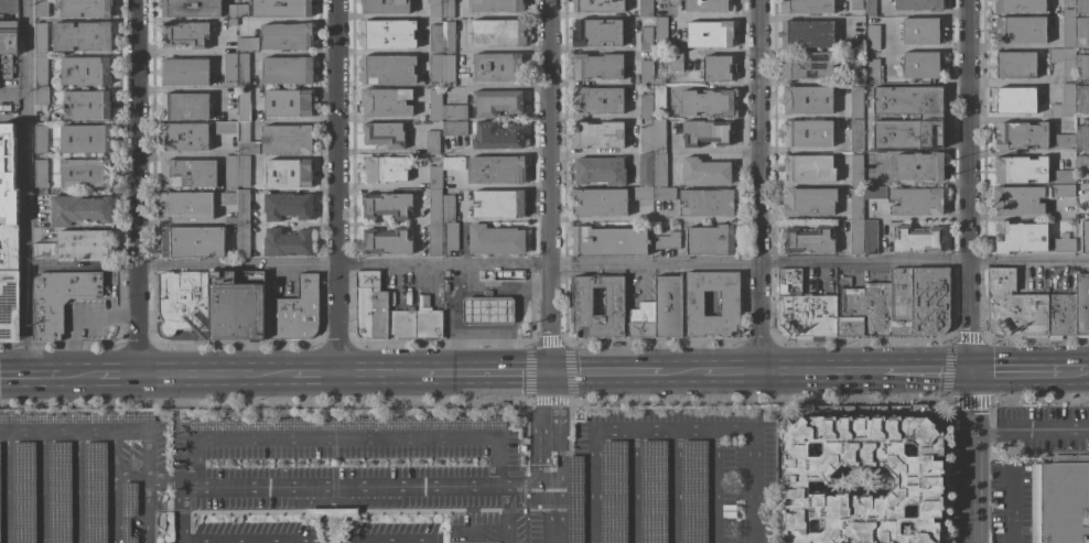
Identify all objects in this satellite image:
building: (1068, 2)
building: (855, 4)
building: (919, 4)
building: (385, 6)
building: (497, 6)
building: (597, 6)
building: (707, 6)
building: (1018, 6)
building: (807, 7)
building: (869, 7)
building: (1081, 7)
building: (41, 8)
building: (84, 8)
building: (191, 8)
building: (280, 8)
building: (645, 8)
building: (434, 9)
building: (448, 9)
building: (233, 10)
building: (241, 11)
road: (675, 13)
road: (384, 14)
road: (716, 15)
building: (231, 22)
building: (660, 29)
building: (1068, 29)
building: (1020, 30)
building: (921, 31)
building: (498, 32)
building: (596, 32)
building: (1081, 33)
building: (185, 34)
building: (387, 34)
building: (710, 34)
building: (807, 34)
building: (82, 36)
building: (287, 36)
building: (448, 36)
building: (8, 37)
building: (40, 37)
building: (435, 37)
building: (873, 37)
building: (645, 39)
building: (247, 44)
road: (506, 48)
road: (175, 50)
road: (391, 52)
building: (658, 58)
building: (676, 61)
building: (1061, 61)
building: (807, 65)
building: (921, 65)
building: (1015, 65)
building: (6, 66)
building: (229, 66)
building: (597, 66)
building: (873, 66)
building: (241, 67)
building: (435, 67)
building: (496, 67)
building: (718, 68)
building: (1081, 68)
building: (40, 69)
building: (387, 69)
building: (85, 70)
building: (288, 70)
building: (448, 70)
building: (184, 72)
building: (646, 73)
road: (1011, 82)
road: (475, 86)
building: (41, 95)
building: (658, 97)
building: (596, 100)
building: (807, 100)
building: (1015, 100)
building: (1064, 101)
building: (1081, 101)
building: (288, 102)
building: (385, 102)
building: (497, 102)
building: (707, 102)
building: (855, 102)
building: (86, 105)
building: (434, 105)
building: (242, 106)
building: (184, 107)
building: (645, 107)
building: (453, 111)
road: (602, 117)
building: (930, 118)
road: (284, 119)
building: (223, 128)
building: (454, 128)
building: (707, 132)
building: (384, 133)
building: (808, 133)
building: (596, 134)
building: (658, 135)
building: (855, 135)
building: (1021, 135)
building: (184, 137)
building: (497, 137)
building: (40, 138)
building: (646, 138)
building: (85, 139)
building: (287, 139)
building: (1071, 139)
building: (432, 141)
building: (247, 148)
road: (714, 151)
building: (1081, 161)
building: (453, 163)
building: (919, 166)
building: (809, 167)
building: (386, 169)
building: (496, 170)
building: (645, 170)
building: (658, 170)
building: (855, 170)
building: (1020, 170)
building: (230, 171)
building: (242, 171)
building: (600, 171)
building: (704, 171)
building: (40, 173)
building: (85, 173)
building: (187, 173)
building: (288, 173)
building: (8, 174)
building: (1063, 176)
building: (434, 177)
road: (968, 184)
road: (549, 185)
road: (757, 185)
road: (25, 186)
road: (136, 186)
road: (336, 186)
building: (1061, 191)
building: (874, 192)
building: (641, 193)
building: (664, 193)
building: (226, 198)
building: (1017, 200)
building: (707, 202)
building: (808, 202)
building: (917, 202)
building: (599, 203)
building: (498, 204)
building: (185, 205)
building: (387, 205)
building: (856, 205)
building: (242, 206)
building: (287, 206)
building: (434, 206)
building: (448, 208)
building: (79, 210)
building: (229, 220)
building: (1085, 236)
building: (450, 237)
building: (855, 237)
building: (870, 237)
building: (1020, 237)
building: (434, 239)
building: (809, 239)
building: (916, 239)
building: (242, 240)
building: (495, 240)
building: (667, 240)
building: (710, 240)
building: (387, 241)
building: (608, 241)
building: (192, 242)
building: (287, 242)
building: (1063, 242)
building: (78, 245)
road: (557, 265)
road: (462, 276)
building: (9, 281)
road: (463, 287)
building: (60, 298)
building: (182, 301)
building: (422, 302)
building: (236, 305)
building: (896, 305)
building: (370, 306)
building: (667, 306)
building: (1081, 306)
building: (693, 307)
building: (1014, 307)
building: (487, 309)
building: (582, 309)
building: (804, 309)
building: (293, 312)
building: (1061, 315)
road: (79, 319)
building: (641, 322)
building: (446, 323)
building: (401, 324)
building: (428, 324)
road: (507, 334)
road: (507, 352)
road: (1017, 367)
road: (1078, 367)
traffic signals: (968, 368)
road: (925, 369)
road: (605, 370)
road: (680, 370)
road: (729, 370)
road: (819, 370)
road: (487, 371)
traffic signals: (550, 371)
road: (216, 372)
road: (316, 372)
road: (380, 372)
road: (31, 373)
road: (79, 373)
road: (116, 373)
road: (968, 399)
building: (345, 423)
road: (533, 427)
road: (982, 430)
road: (1042, 430)
road: (617, 435)
road: (3, 437)
road: (60, 437)
road: (128, 437)
road: (371, 439)
road: (560, 456)
building: (552, 463)
flagpole: (277, 467)
building: (919, 471)
road: (129, 477)
parking lot: (675, 482)
road: (970, 486)
road: (352, 488)
road: (672, 488)
road: (714, 488)
road: (753, 488)
road: (630, 489)
road: (7, 490)
road: (42, 490)
road: (77, 490)
road: (111, 490)
road: (145, 490)
building: (612, 491)
building: (651, 491)
building: (691, 491)
building: (22, 492)
building: (57, 492)
building: (93, 492)
building: (573, 499)
building: (1060, 500)
road: (1011, 507)
road: (181, 510)
building: (127, 512)
road: (541, 515)
building: (332, 521)
road: (477, 529)
road: (505, 535)
road: (289, 542)
road: (332, 542)
road: (387, 542)
road: (433, 542)

